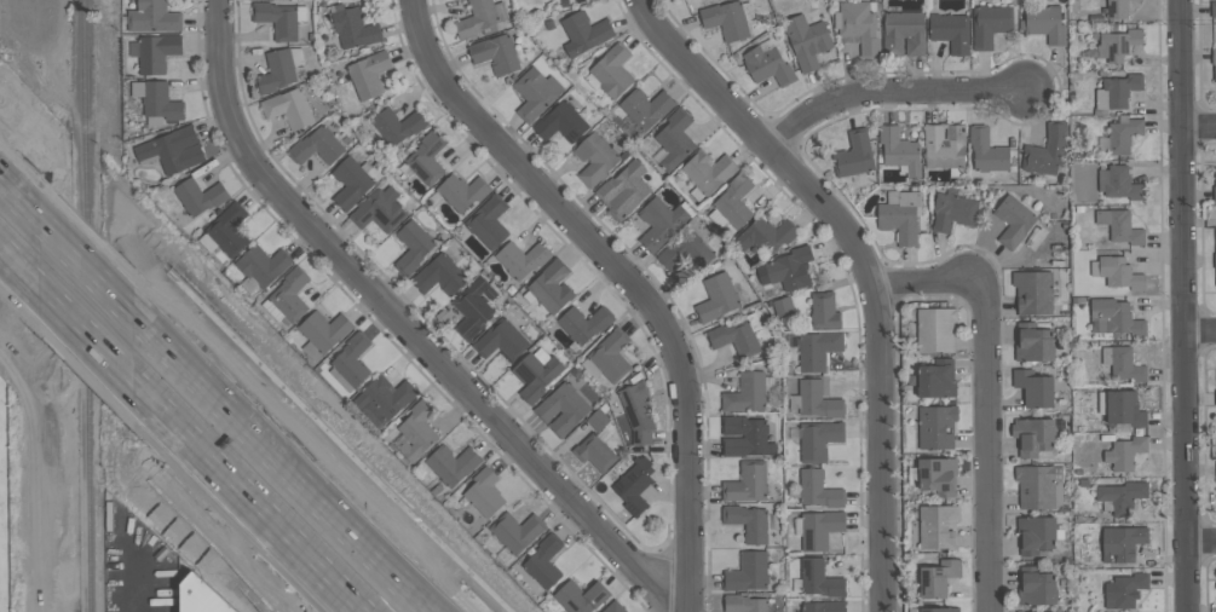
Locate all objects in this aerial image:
building: (1117, 10)
building: (1212, 10)
building: (152, 17)
building: (480, 18)
building: (277, 19)
building: (728, 21)
building: (1044, 23)
building: (859, 25)
building: (989, 25)
building: (352, 28)
building: (950, 31)
building: (583, 33)
building: (904, 33)
building: (806, 41)
building: (1117, 46)
building: (155, 52)
building: (495, 53)
building: (1214, 64)
building: (765, 65)
building: (281, 68)
building: (610, 70)
building: (368, 74)
building: (1120, 91)
road: (886, 92)
building: (535, 93)
building: (156, 102)
railway: (87, 104)
building: (288, 108)
building: (646, 108)
building: (561, 123)
road: (1199, 125)
building: (397, 127)
building: (1122, 137)
building: (674, 142)
building: (317, 146)
building: (944, 146)
building: (172, 150)
building: (899, 150)
building: (1047, 151)
building: (987, 152)
building: (853, 155)
building: (427, 158)
building: (595, 158)
building: (707, 174)
building: (353, 181)
building: (1118, 185)
building: (1214, 190)
building: (624, 191)
building: (462, 192)
building: (200, 196)
road: (18, 203)
building: (731, 204)
building: (380, 209)
building: (951, 212)
building: (900, 218)
building: (488, 221)
building: (1013, 221)
building: (662, 223)
building: (1118, 227)
building: (227, 230)
building: (766, 236)
building: (411, 248)
building: (685, 253)
building: (521, 260)
building: (1215, 262)
road: (860, 265)
road: (17, 267)
building: (261, 267)
road: (83, 269)
building: (788, 270)
building: (1118, 273)
building: (440, 275)
road: (618, 277)
road: (926, 278)
building: (549, 288)
building: (1032, 293)
building: (289, 295)
building: (716, 298)
road: (1183, 306)
building: (474, 307)
building: (823, 312)
railway: (90, 314)
building: (1114, 318)
building: (583, 325)
road: (405, 327)
building: (935, 330)
building: (324, 331)
road: (1200, 331)
road: (85, 335)
building: (734, 337)
building: (502, 341)
building: (1035, 342)
building: (817, 350)
building: (611, 357)
building: (351, 363)
building: (1122, 365)
building: (536, 374)
building: (935, 379)
building: (1033, 388)
building: (745, 393)
building: (1215, 398)
building: (384, 400)
building: (817, 400)
building: (561, 408)
building: (1123, 410)
building: (636, 414)
building: (937, 427)
building: (416, 429)
building: (744, 437)
building: (1033, 437)
building: (818, 440)
road: (982, 448)
building: (594, 454)
building: (1123, 454)
road: (279, 463)
building: (450, 464)
building: (1215, 472)
building: (937, 477)
building: (745, 481)
building: (1037, 485)
building: (632, 486)
building: (818, 489)
building: (484, 493)
building: (1120, 497)
road: (248, 498)
park: (5, 500)
railway: (92, 516)
building: (748, 524)
building: (937, 527)
building: (819, 529)
building: (517, 531)
building: (1035, 535)
road: (1201, 542)
building: (1123, 544)
building: (543, 562)
building: (747, 573)
building: (819, 578)
building: (938, 578)
road: (137, 584)
building: (1036, 587)
building: (1126, 590)
building: (200, 596)
building: (580, 599)
building: (744, 605)
building: (822, 607)
building: (615, 608)
building: (940, 610)

